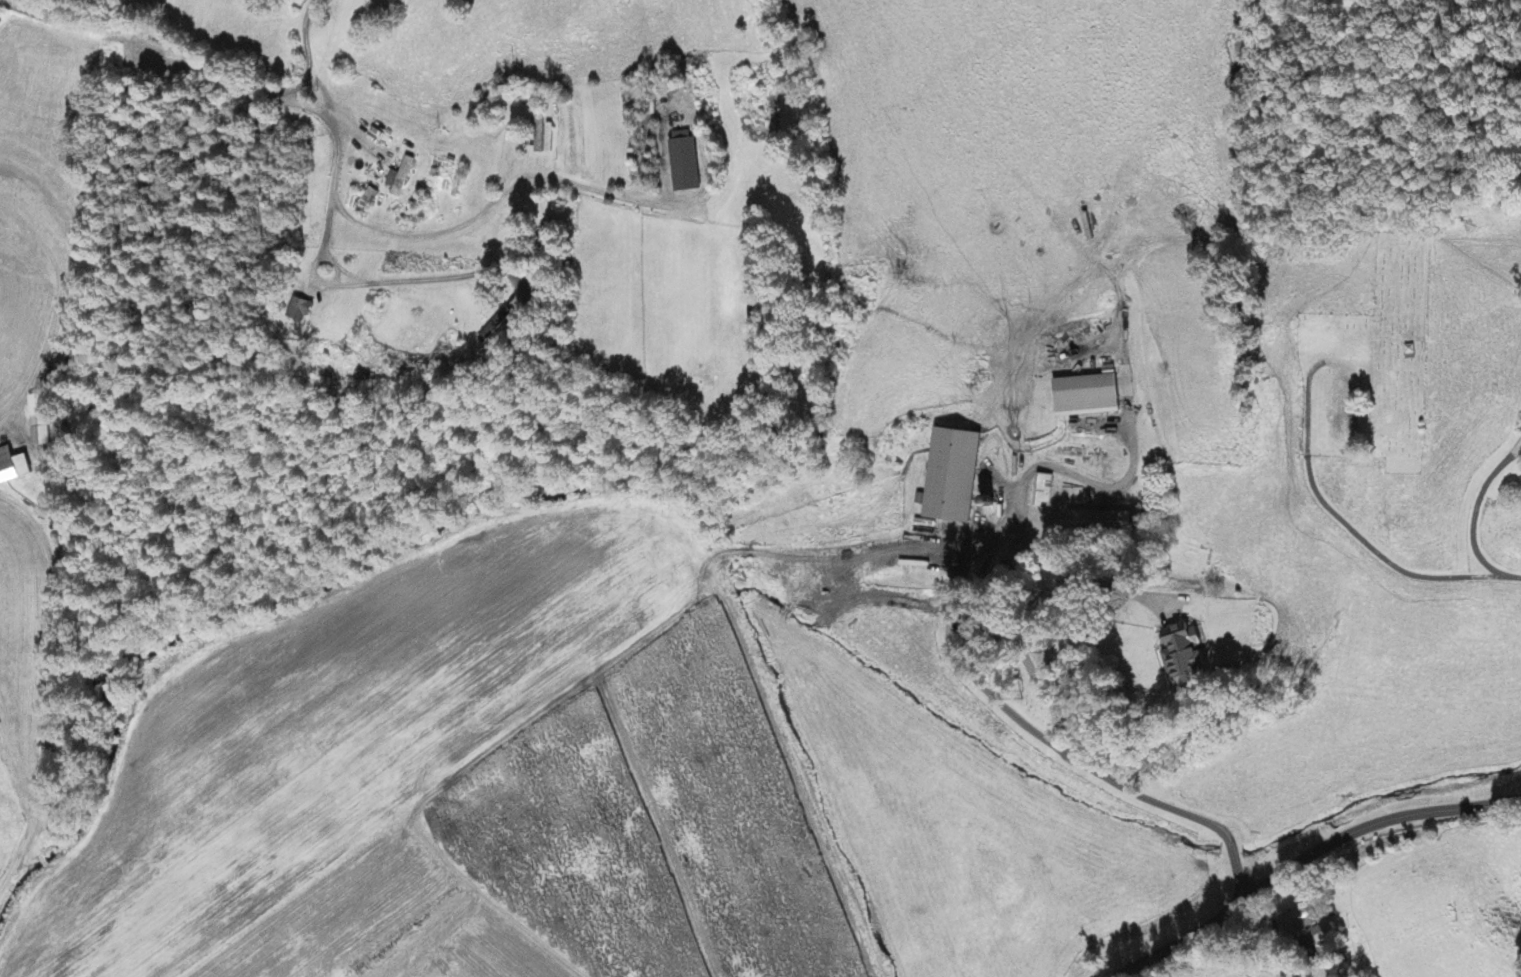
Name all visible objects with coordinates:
road: (305, 55)
building: (684, 163)
road: (338, 174)
building: (400, 179)
road: (611, 233)
building: (300, 311)
park: (1370, 362)
building: (1088, 398)
building: (39, 422)
building: (13, 468)
building: (955, 478)
building: (1044, 492)
building: (1125, 518)
building: (1090, 521)
road: (1349, 525)
building: (1190, 655)
road: (1309, 853)
building: (1299, 920)
building: (1323, 934)

